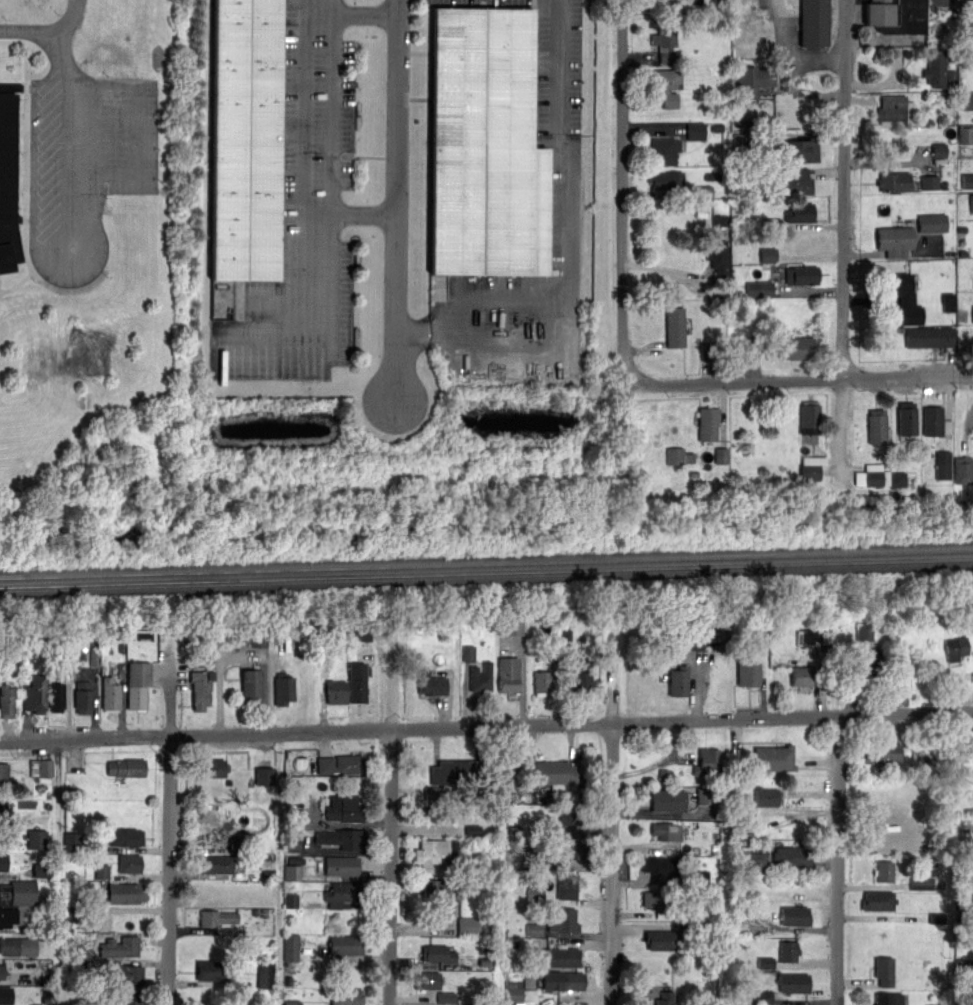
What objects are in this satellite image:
building: (968, 0)
building: (936, 1)
parking lot: (683, 2)
road: (304, 8)
building: (895, 15)
parking lot: (785, 22)
building: (814, 23)
road: (48, 31)
building: (665, 43)
road: (791, 55)
building: (934, 68)
building: (952, 76)
building: (750, 81)
building: (667, 85)
road: (801, 93)
building: (967, 101)
building: (892, 109)
road: (303, 116)
road: (333, 116)
road: (136, 131)
building: (695, 131)
building: (965, 134)
building: (246, 139)
road: (68, 140)
building: (741, 141)
building: (488, 145)
building: (802, 148)
building: (664, 150)
building: (939, 150)
parking lot: (86, 167)
building: (7, 177)
building: (664, 179)
building: (892, 180)
building: (796, 181)
building: (967, 181)
building: (929, 182)
road: (397, 202)
building: (971, 202)
parking lot: (566, 209)
building: (799, 212)
parking lot: (302, 214)
building: (720, 220)
building: (932, 223)
road: (623, 231)
road: (844, 237)
building: (894, 240)
road: (557, 245)
building: (768, 255)
building: (718, 265)
building: (801, 274)
building: (759, 288)
building: (901, 295)
building: (948, 302)
building: (972, 308)
road: (303, 317)
building: (674, 326)
building: (929, 337)
building: (792, 347)
building: (707, 351)
road: (800, 382)
building: (808, 416)
building: (907, 419)
building: (935, 421)
building: (707, 423)
building: (877, 426)
building: (675, 455)
building: (721, 455)
building: (813, 460)
building: (943, 465)
building: (963, 469)
building: (810, 472)
building: (879, 477)
railway: (486, 563)
railway: (486, 572)
building: (511, 626)
building: (864, 631)
building: (807, 637)
building: (259, 641)
building: (690, 642)
building: (955, 647)
building: (468, 653)
road: (243, 656)
building: (870, 668)
building: (748, 670)
building: (580, 673)
building: (508, 674)
building: (801, 675)
building: (480, 676)
building: (357, 680)
building: (677, 680)
building: (541, 681)
building: (137, 683)
road: (391, 683)
building: (431, 685)
building: (251, 686)
building: (283, 689)
building: (199, 690)
building: (336, 691)
building: (110, 693)
building: (35, 694)
building: (55, 696)
building: (82, 696)
building: (6, 700)
road: (486, 725)
building: (880, 749)
building: (773, 757)
road: (659, 762)
building: (708, 762)
building: (339, 764)
building: (127, 766)
building: (210, 767)
building: (41, 768)
building: (456, 771)
building: (550, 771)
building: (3, 773)
building: (264, 775)
building: (433, 794)
building: (765, 796)
building: (704, 797)
road: (612, 799)
building: (667, 802)
building: (2, 808)
building: (346, 808)
building: (437, 814)
building: (572, 816)
building: (746, 820)
building: (566, 826)
building: (665, 830)
road: (169, 832)
building: (126, 836)
building: (343, 838)
building: (885, 839)
road: (837, 840)
building: (71, 841)
building: (572, 849)
building: (430, 850)
building: (792, 855)
building: (758, 861)
building: (3, 862)
building: (129, 862)
building: (215, 864)
building: (662, 864)
building: (341, 865)
road: (389, 866)
building: (41, 870)
building: (101, 871)
building: (884, 871)
building: (292, 872)
building: (701, 877)
building: (921, 883)
building: (567, 885)
building: (442, 888)
building: (124, 892)
building: (342, 893)
building: (535, 894)
building: (14, 898)
building: (652, 899)
building: (291, 900)
building: (877, 900)
building: (794, 915)
building: (215, 917)
building: (563, 919)
building: (468, 926)
building: (534, 929)
building: (669, 936)
building: (345, 944)
building: (18, 945)
building: (121, 946)
building: (291, 947)
building: (787, 950)
building: (436, 952)
building: (555, 956)
building: (344, 960)
building: (765, 962)
building: (212, 969)
building: (884, 970)
building: (1, 971)
building: (124, 974)
building: (265, 975)
building: (426, 979)
building: (563, 980)
building: (793, 982)
building: (521, 989)
building: (6, 995)
building: (346, 996)
building: (447, 997)
building: (765, 997)
building: (131, 998)
building: (665, 998)
building: (888, 999)

